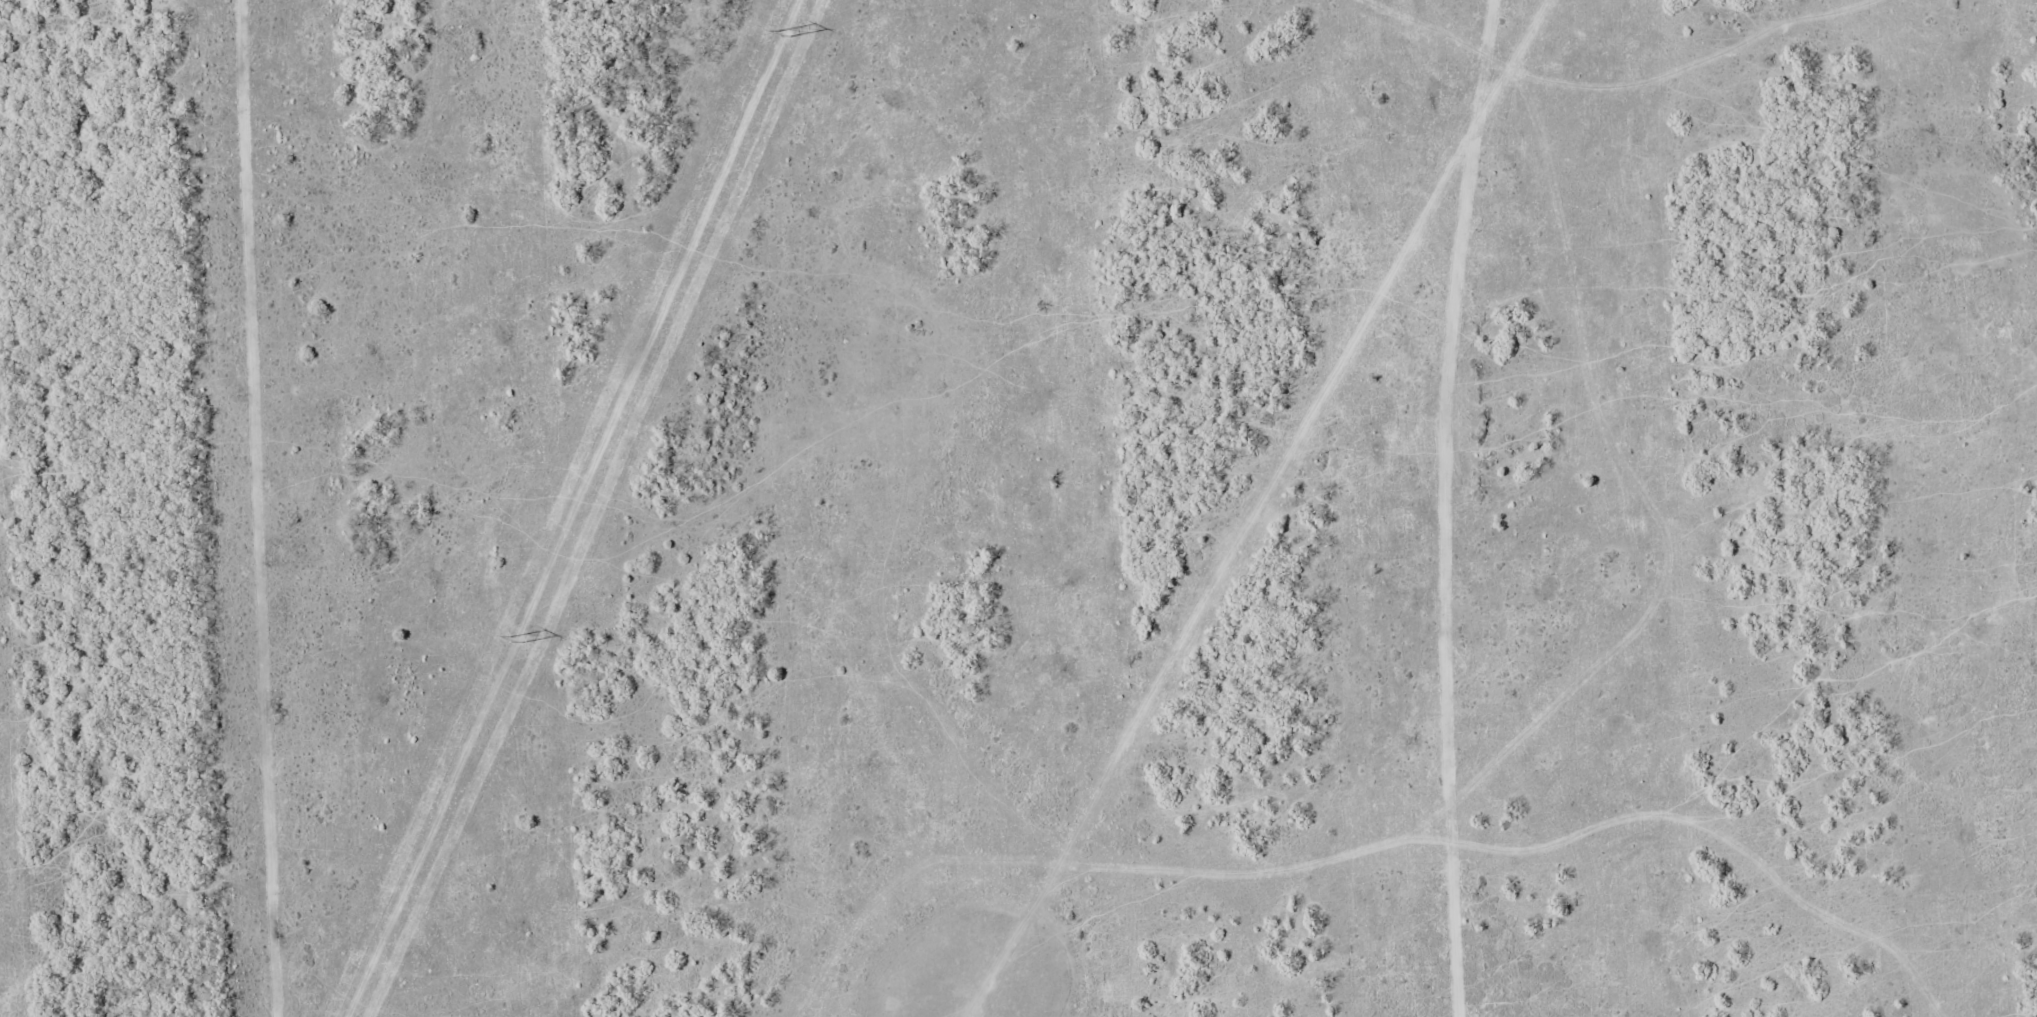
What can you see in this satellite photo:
power tower: (787, 34)
power tower: (516, 641)

